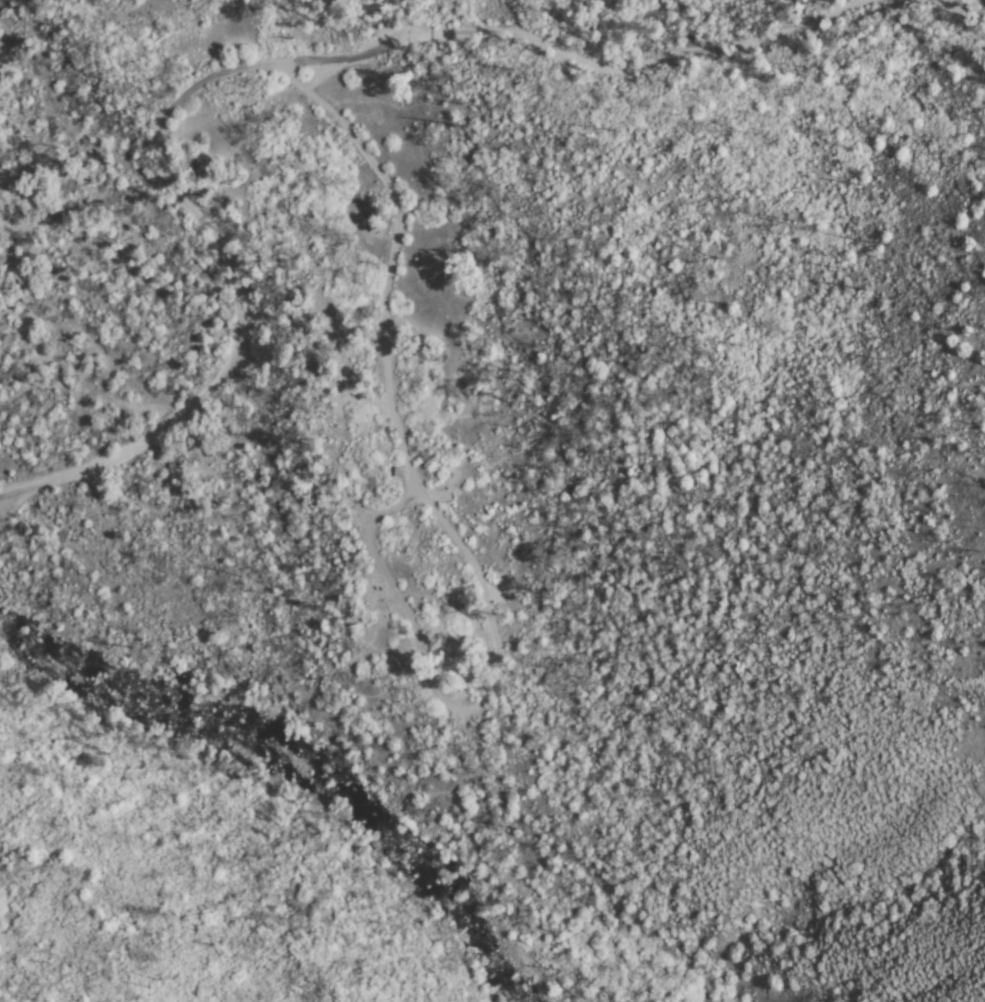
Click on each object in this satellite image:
road: (956, 5)
road: (244, 66)
road: (399, 256)
building: (394, 473)
road: (443, 693)
river: (294, 762)

